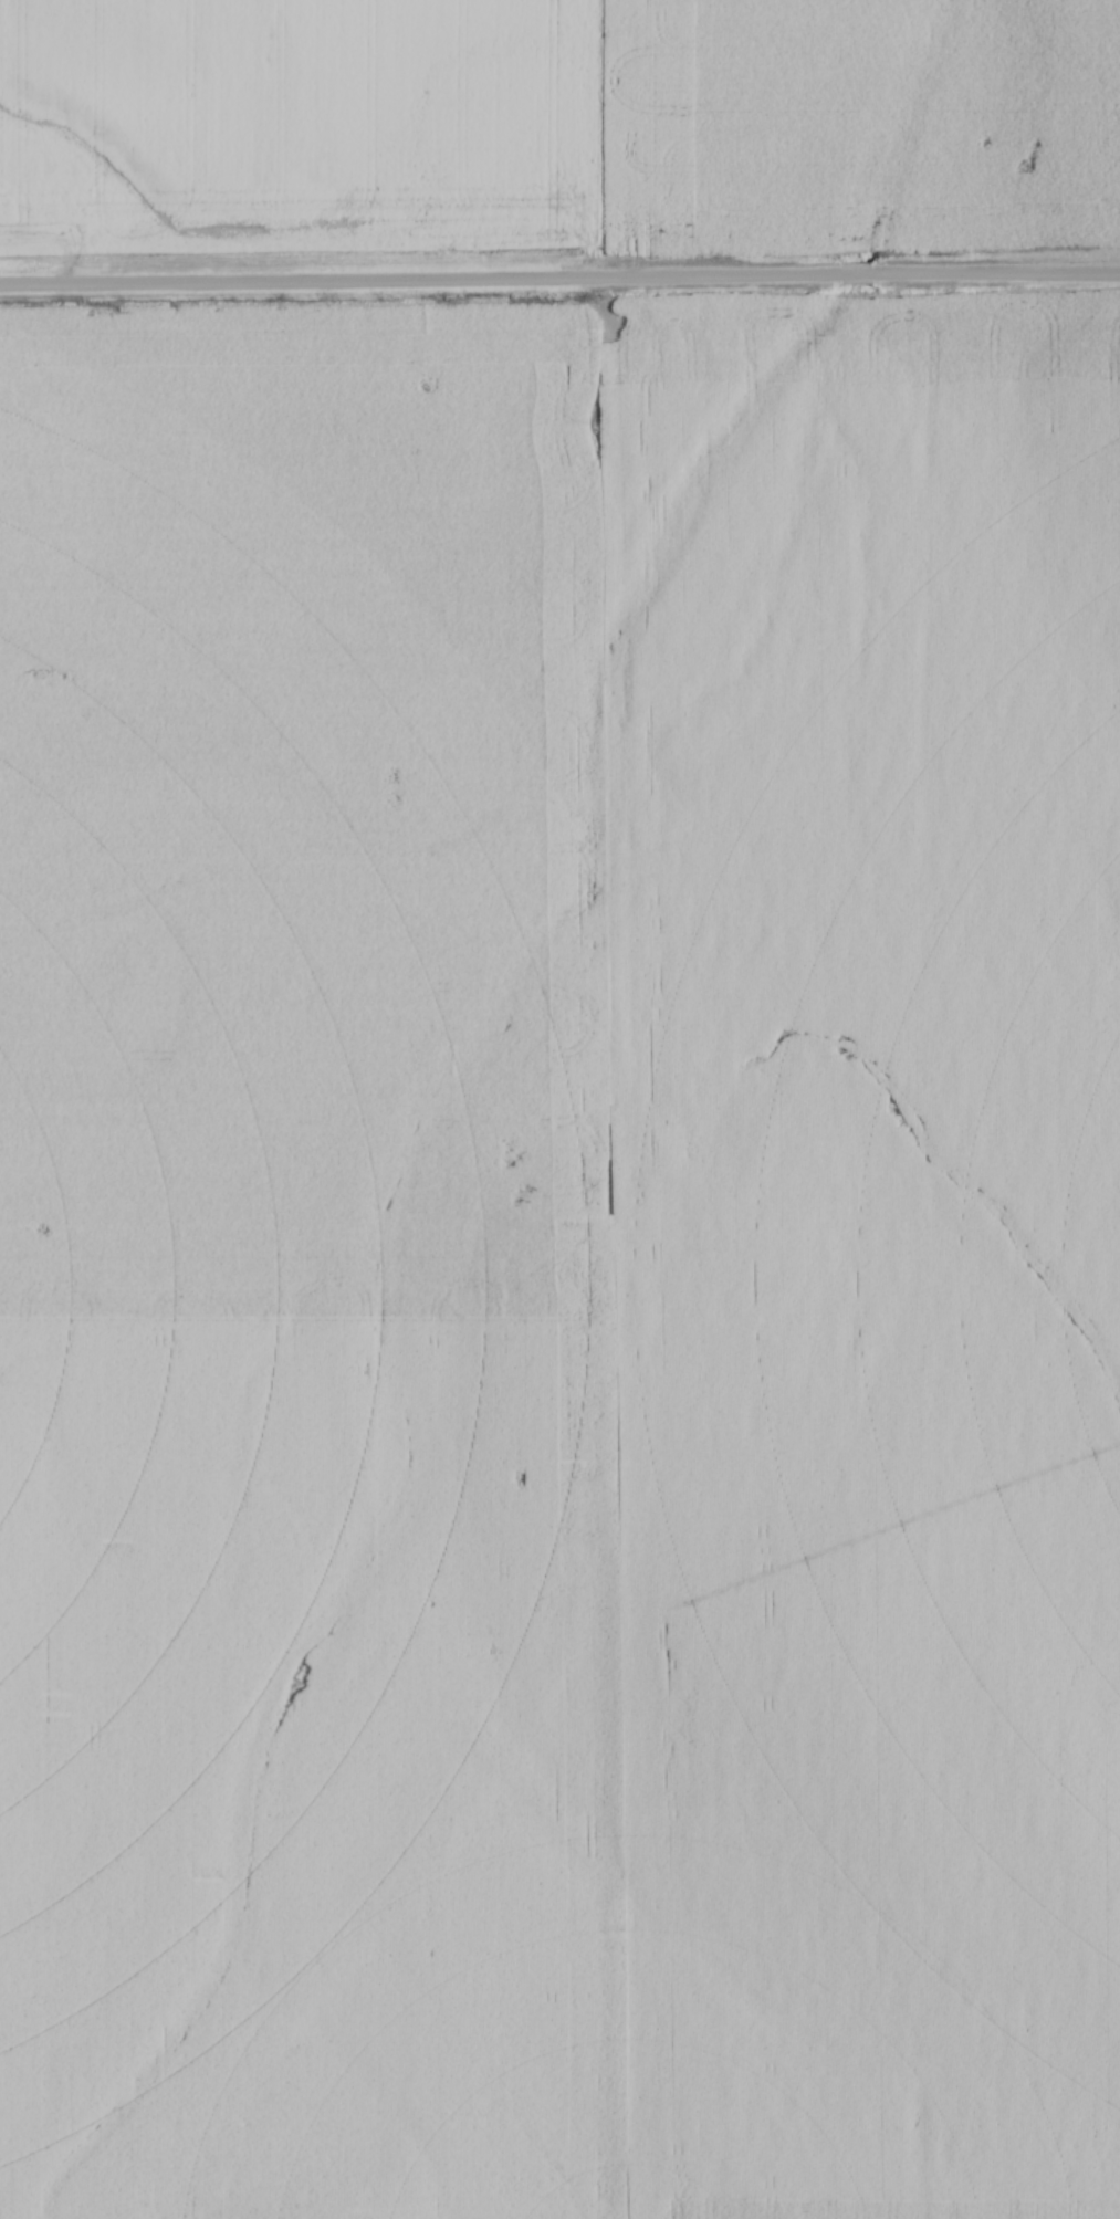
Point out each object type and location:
road: (559, 283)

